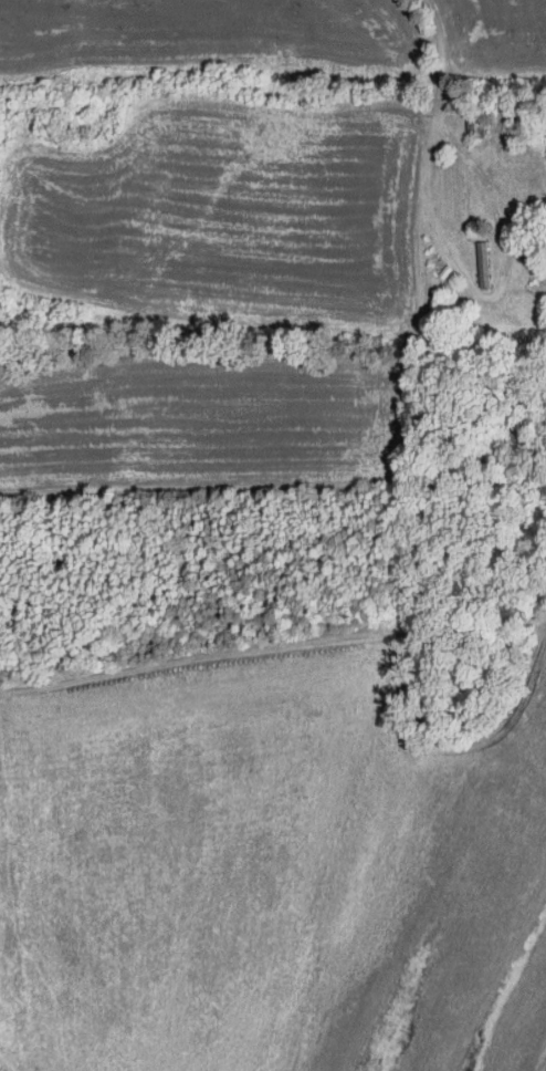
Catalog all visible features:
road: (448, 136)
road: (433, 137)

